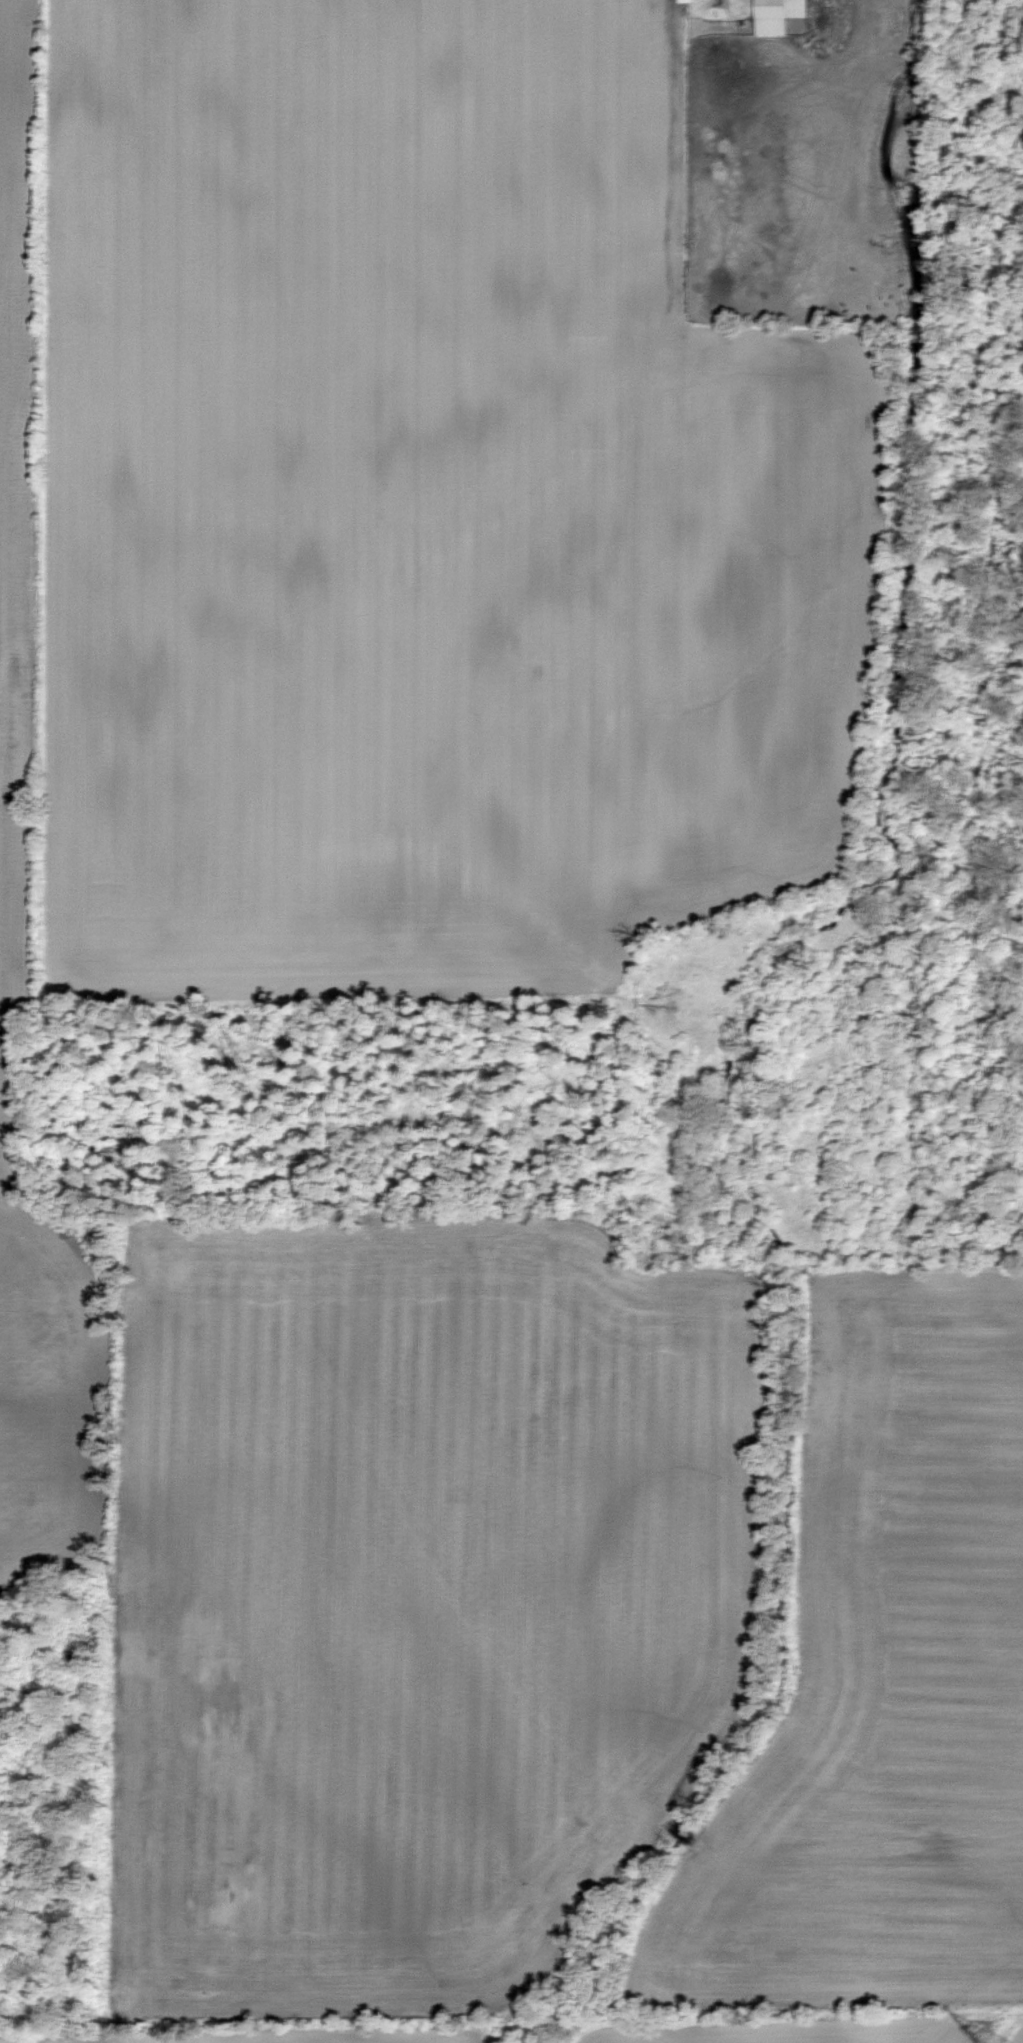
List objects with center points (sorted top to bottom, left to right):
building: (766, 18)
power tower: (987, 2036)

